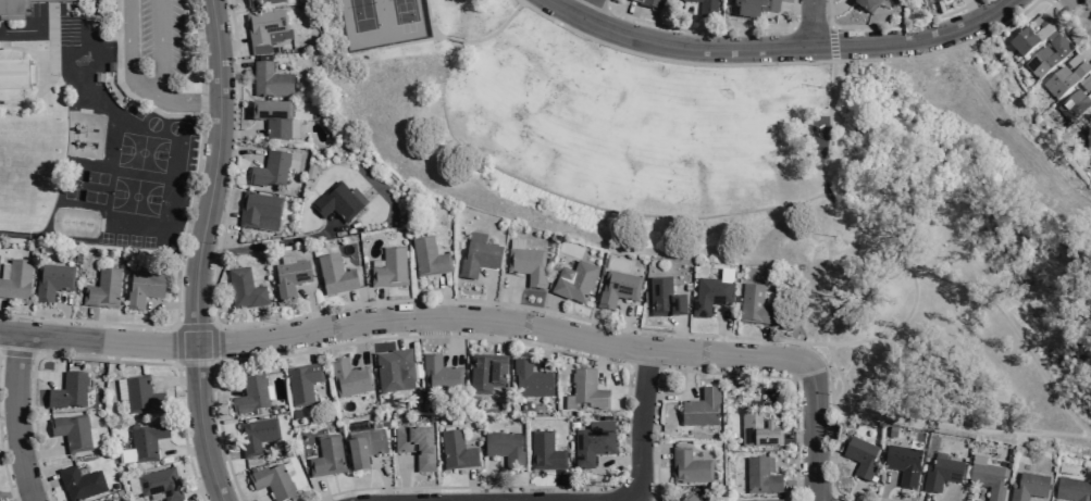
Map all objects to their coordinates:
road: (519, 1)
building: (261, 2)
road: (599, 3)
building: (648, 3)
building: (865, 4)
building: (18, 8)
building: (755, 8)
road: (1058, 8)
road: (586, 9)
building: (706, 9)
road: (796, 9)
road: (830, 9)
road: (971, 10)
road: (1080, 11)
road: (627, 20)
park: (382, 22)
road: (811, 22)
road: (1069, 22)
building: (1043, 23)
road: (893, 24)
road: (431, 26)
road: (686, 27)
road: (832, 27)
road: (1078, 28)
building: (263, 29)
road: (497, 29)
road: (708, 29)
road: (818, 29)
road: (456, 39)
road: (408, 41)
building: (1022, 43)
road: (388, 45)
road: (779, 45)
road: (199, 46)
road: (159, 48)
road: (232, 48)
parking lot: (156, 53)
road: (833, 53)
road: (1088, 55)
building: (1047, 57)
road: (779, 63)
road: (233, 68)
building: (14, 76)
building: (1063, 80)
building: (270, 82)
road: (137, 85)
building: (1087, 86)
road: (122, 88)
road: (202, 103)
building: (1073, 105)
building: (273, 120)
road: (829, 123)
road: (237, 133)
building: (1088, 133)
road: (238, 151)
building: (270, 171)
road: (828, 192)
park: (766, 193)
building: (336, 203)
building: (259, 212)
road: (220, 218)
road: (333, 226)
road: (275, 242)
road: (198, 251)
building: (429, 258)
building: (479, 259)
building: (526, 265)
building: (390, 268)
building: (334, 276)
building: (290, 278)
building: (16, 280)
building: (52, 281)
building: (574, 283)
building: (618, 289)
building: (102, 290)
building: (142, 290)
building: (245, 290)
road: (914, 295)
building: (710, 296)
road: (446, 297)
road: (487, 298)
road: (455, 299)
building: (665, 299)
road: (508, 300)
road: (152, 304)
road: (176, 305)
road: (380, 305)
building: (754, 305)
road: (0, 308)
road: (355, 308)
road: (311, 309)
road: (549, 313)
road: (65, 315)
road: (404, 317)
road: (87, 324)
road: (262, 324)
road: (214, 325)
road: (175, 326)
road: (623, 327)
road: (178, 328)
road: (1013, 328)
road: (401, 331)
road: (720, 333)
road: (500, 336)
road: (678, 336)
road: (455, 338)
road: (358, 342)
street lamp: (797, 346)
road: (309, 347)
road: (544, 347)
road: (561, 351)
road: (801, 351)
road: (18, 353)
road: (101, 359)
road: (215, 363)
road: (177, 364)
road: (646, 366)
building: (394, 370)
road: (687, 372)
building: (486, 373)
road: (722, 373)
road: (35, 374)
building: (441, 375)
building: (349, 378)
building: (531, 379)
road: (175, 381)
building: (302, 384)
road: (600, 384)
road: (214, 387)
building: (586, 391)
building: (69, 392)
building: (141, 396)
building: (250, 396)
building: (701, 409)
road: (16, 417)
road: (939, 421)
road: (640, 426)
building: (757, 429)
road: (814, 431)
building: (72, 433)
building: (256, 436)
road: (799, 438)
building: (147, 441)
building: (416, 446)
road: (10, 447)
building: (593, 447)
building: (364, 448)
building: (505, 449)
road: (183, 450)
building: (456, 451)
building: (545, 452)
road: (44, 453)
road: (222, 454)
road: (654, 455)
building: (326, 458)
building: (860, 458)
road: (602, 464)
building: (903, 464)
building: (689, 467)
road: (4, 474)
building: (941, 474)
building: (760, 476)
road: (384, 479)
road: (404, 479)
building: (988, 479)
road: (496, 481)
building: (273, 483)
road: (42, 484)
building: (80, 484)
building: (160, 485)
road: (799, 485)
road: (471, 486)
road: (201, 487)
road: (559, 487)
building: (1029, 487)
road: (884, 488)
road: (14, 489)
road: (322, 490)
building: (1071, 490)
road: (855, 491)
road: (833, 497)
road: (643, 498)
building: (689, 498)
road: (928, 498)
road: (32, 500)
building: (106, 500)
building: (109, 500)
road: (634, 500)
building: (772, 500)

